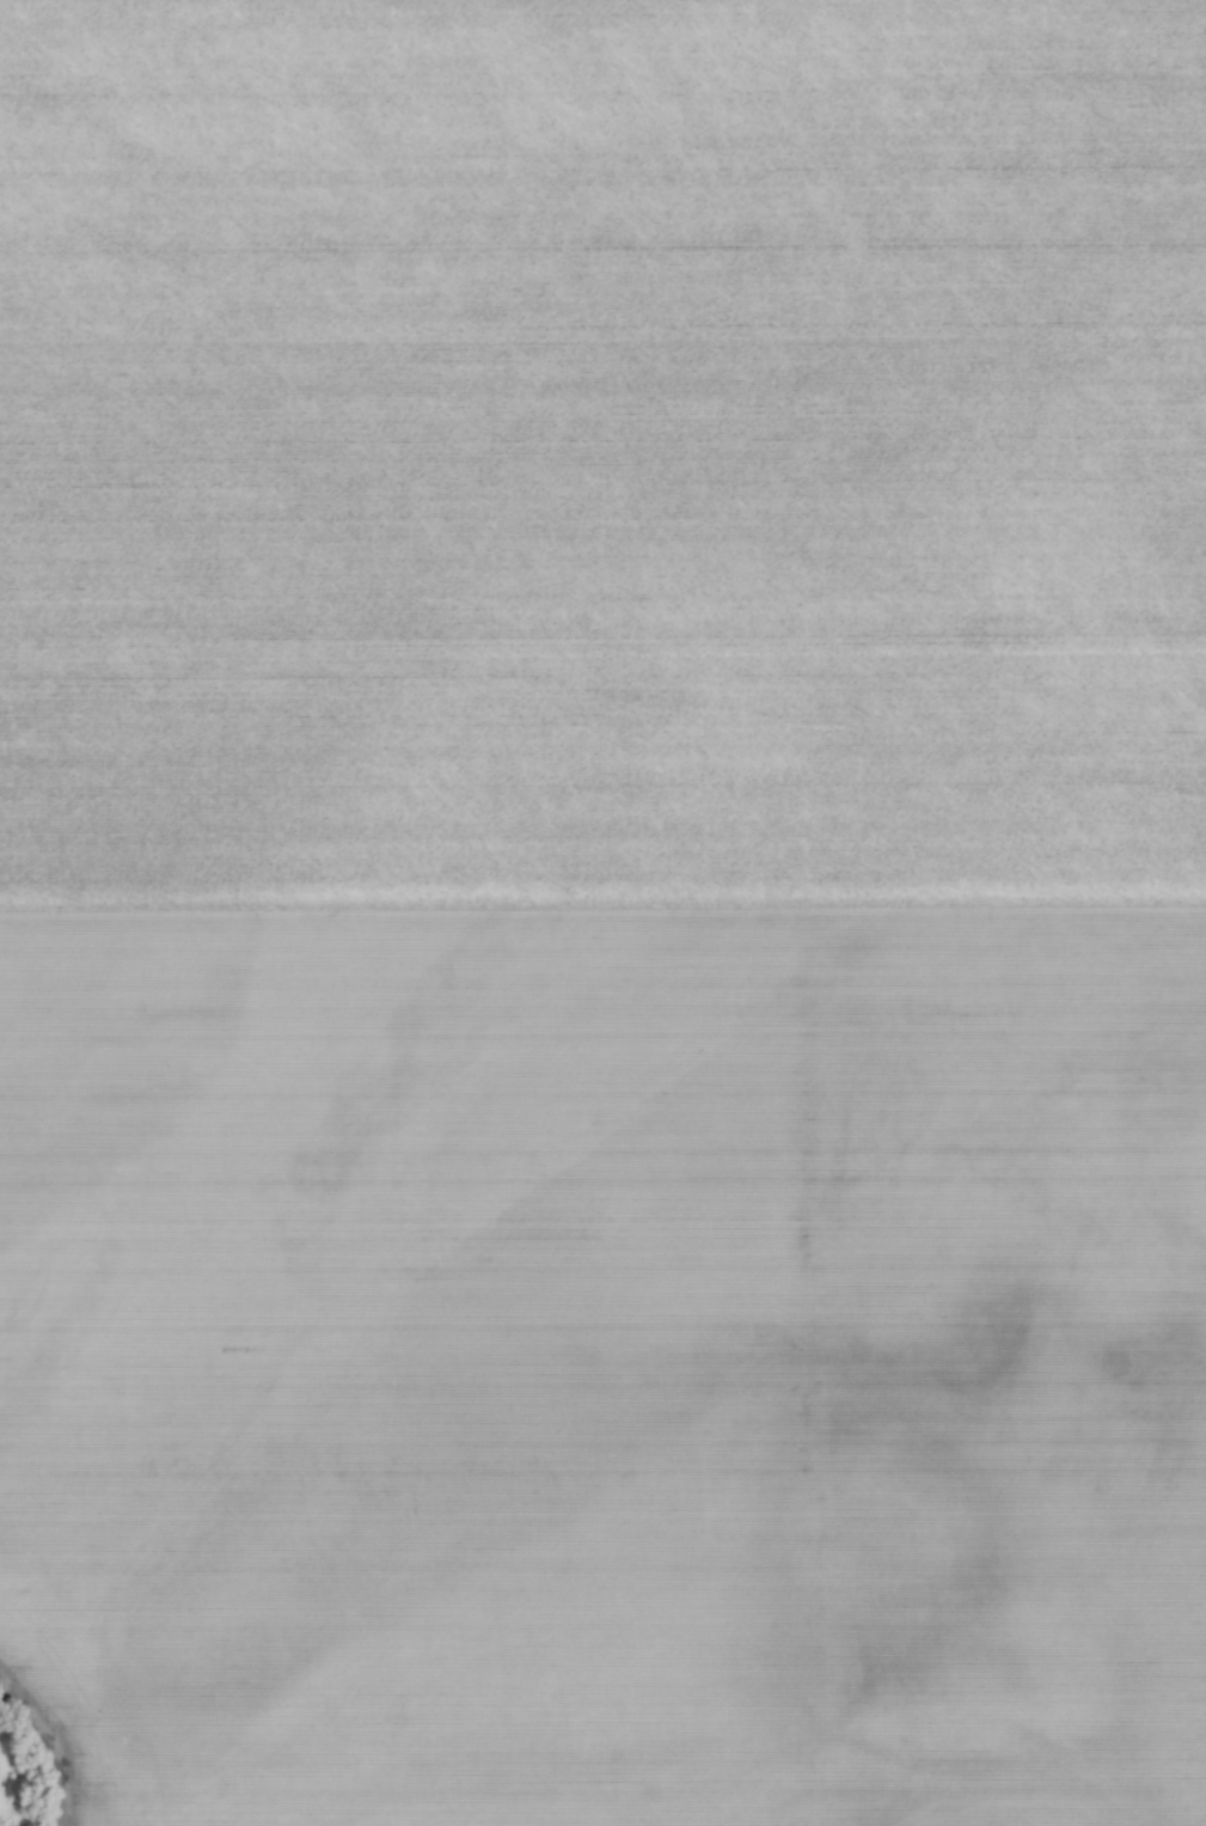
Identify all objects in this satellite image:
crop: (605, 909)
crop: (27, 1775)

